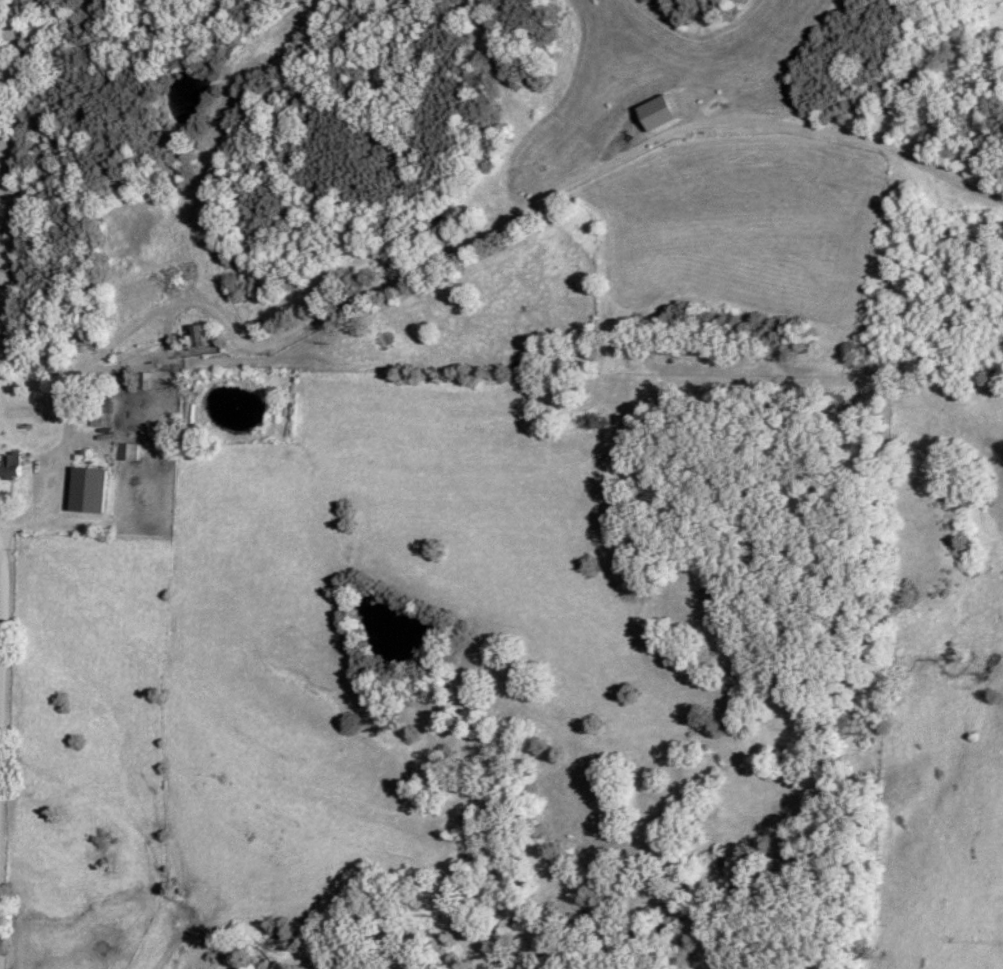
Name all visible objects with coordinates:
building: (205, 335)
building: (144, 381)
building: (101, 409)
road: (92, 440)
building: (128, 452)
building: (10, 465)
road: (4, 678)

